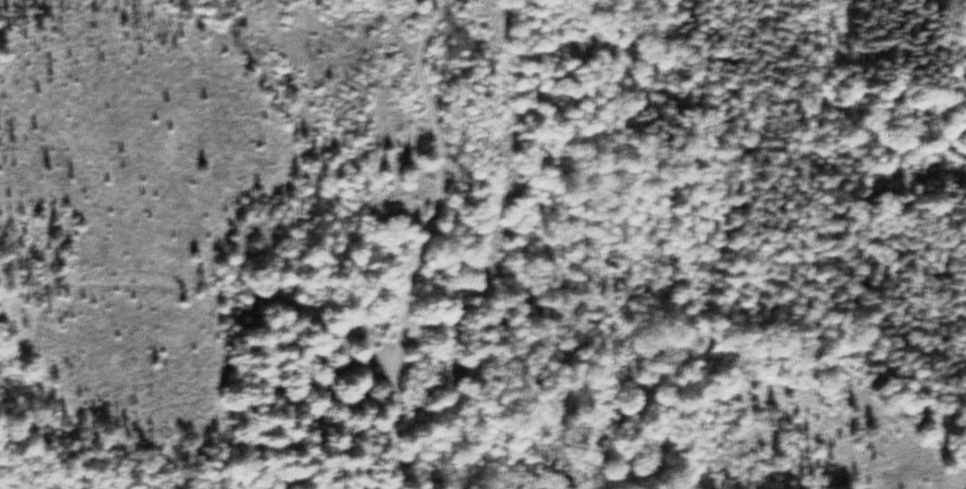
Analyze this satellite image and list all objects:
road: (950, 118)
road: (419, 238)

